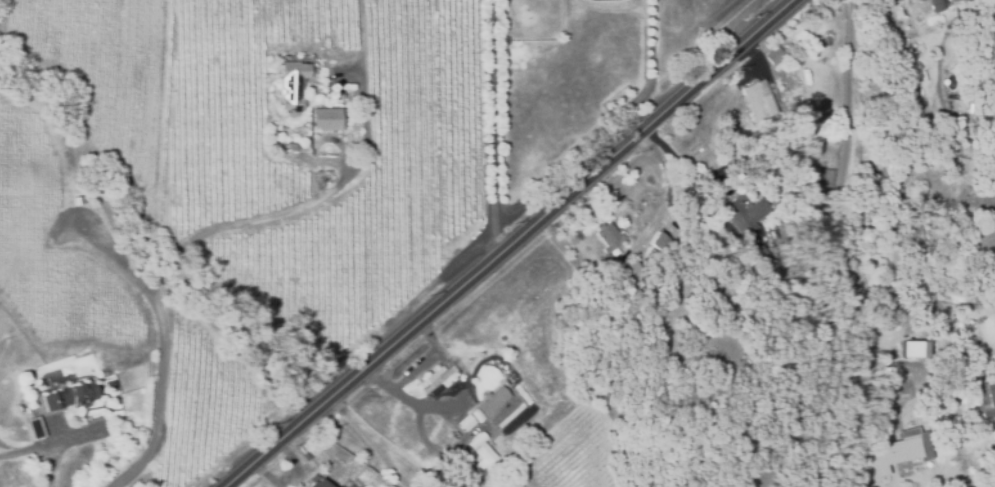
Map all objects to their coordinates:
building: (918, 0)
building: (959, 1)
building: (938, 5)
road: (704, 29)
building: (772, 56)
building: (336, 62)
building: (294, 82)
building: (343, 84)
building: (335, 94)
building: (759, 100)
building: (328, 117)
road: (491, 121)
building: (292, 144)
road: (848, 183)
building: (831, 184)
building: (749, 213)
road: (226, 226)
building: (610, 236)
building: (663, 240)
road: (494, 241)
building: (767, 258)
building: (629, 267)
building: (913, 349)
building: (105, 371)
building: (437, 378)
building: (109, 384)
building: (69, 396)
building: (491, 400)
building: (987, 400)
building: (21, 401)
building: (474, 415)
building: (465, 423)
building: (35, 428)
building: (449, 437)
road: (368, 441)
building: (475, 441)
road: (54, 444)
building: (483, 453)
building: (319, 484)

